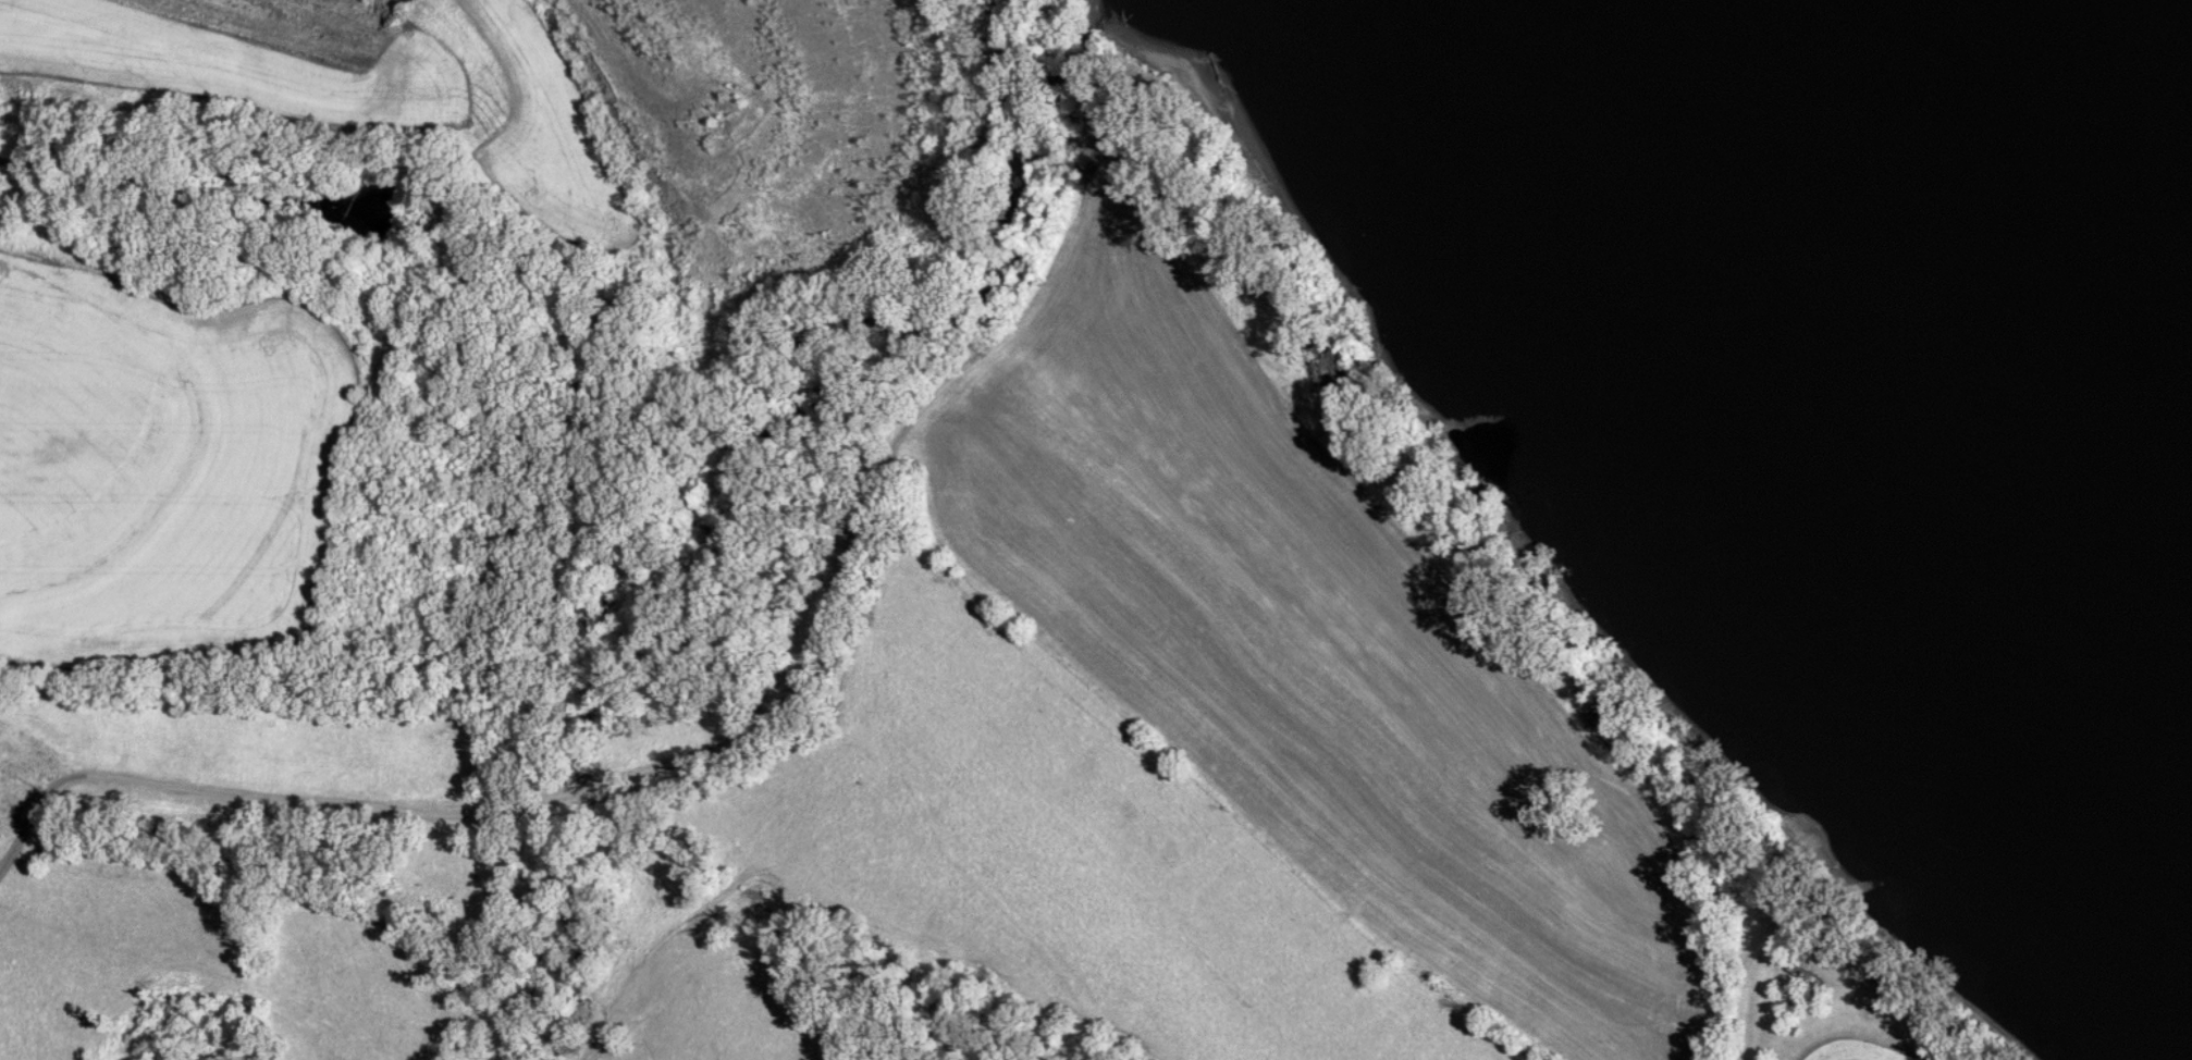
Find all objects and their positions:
river: (1867, 273)
road: (1747, 979)

